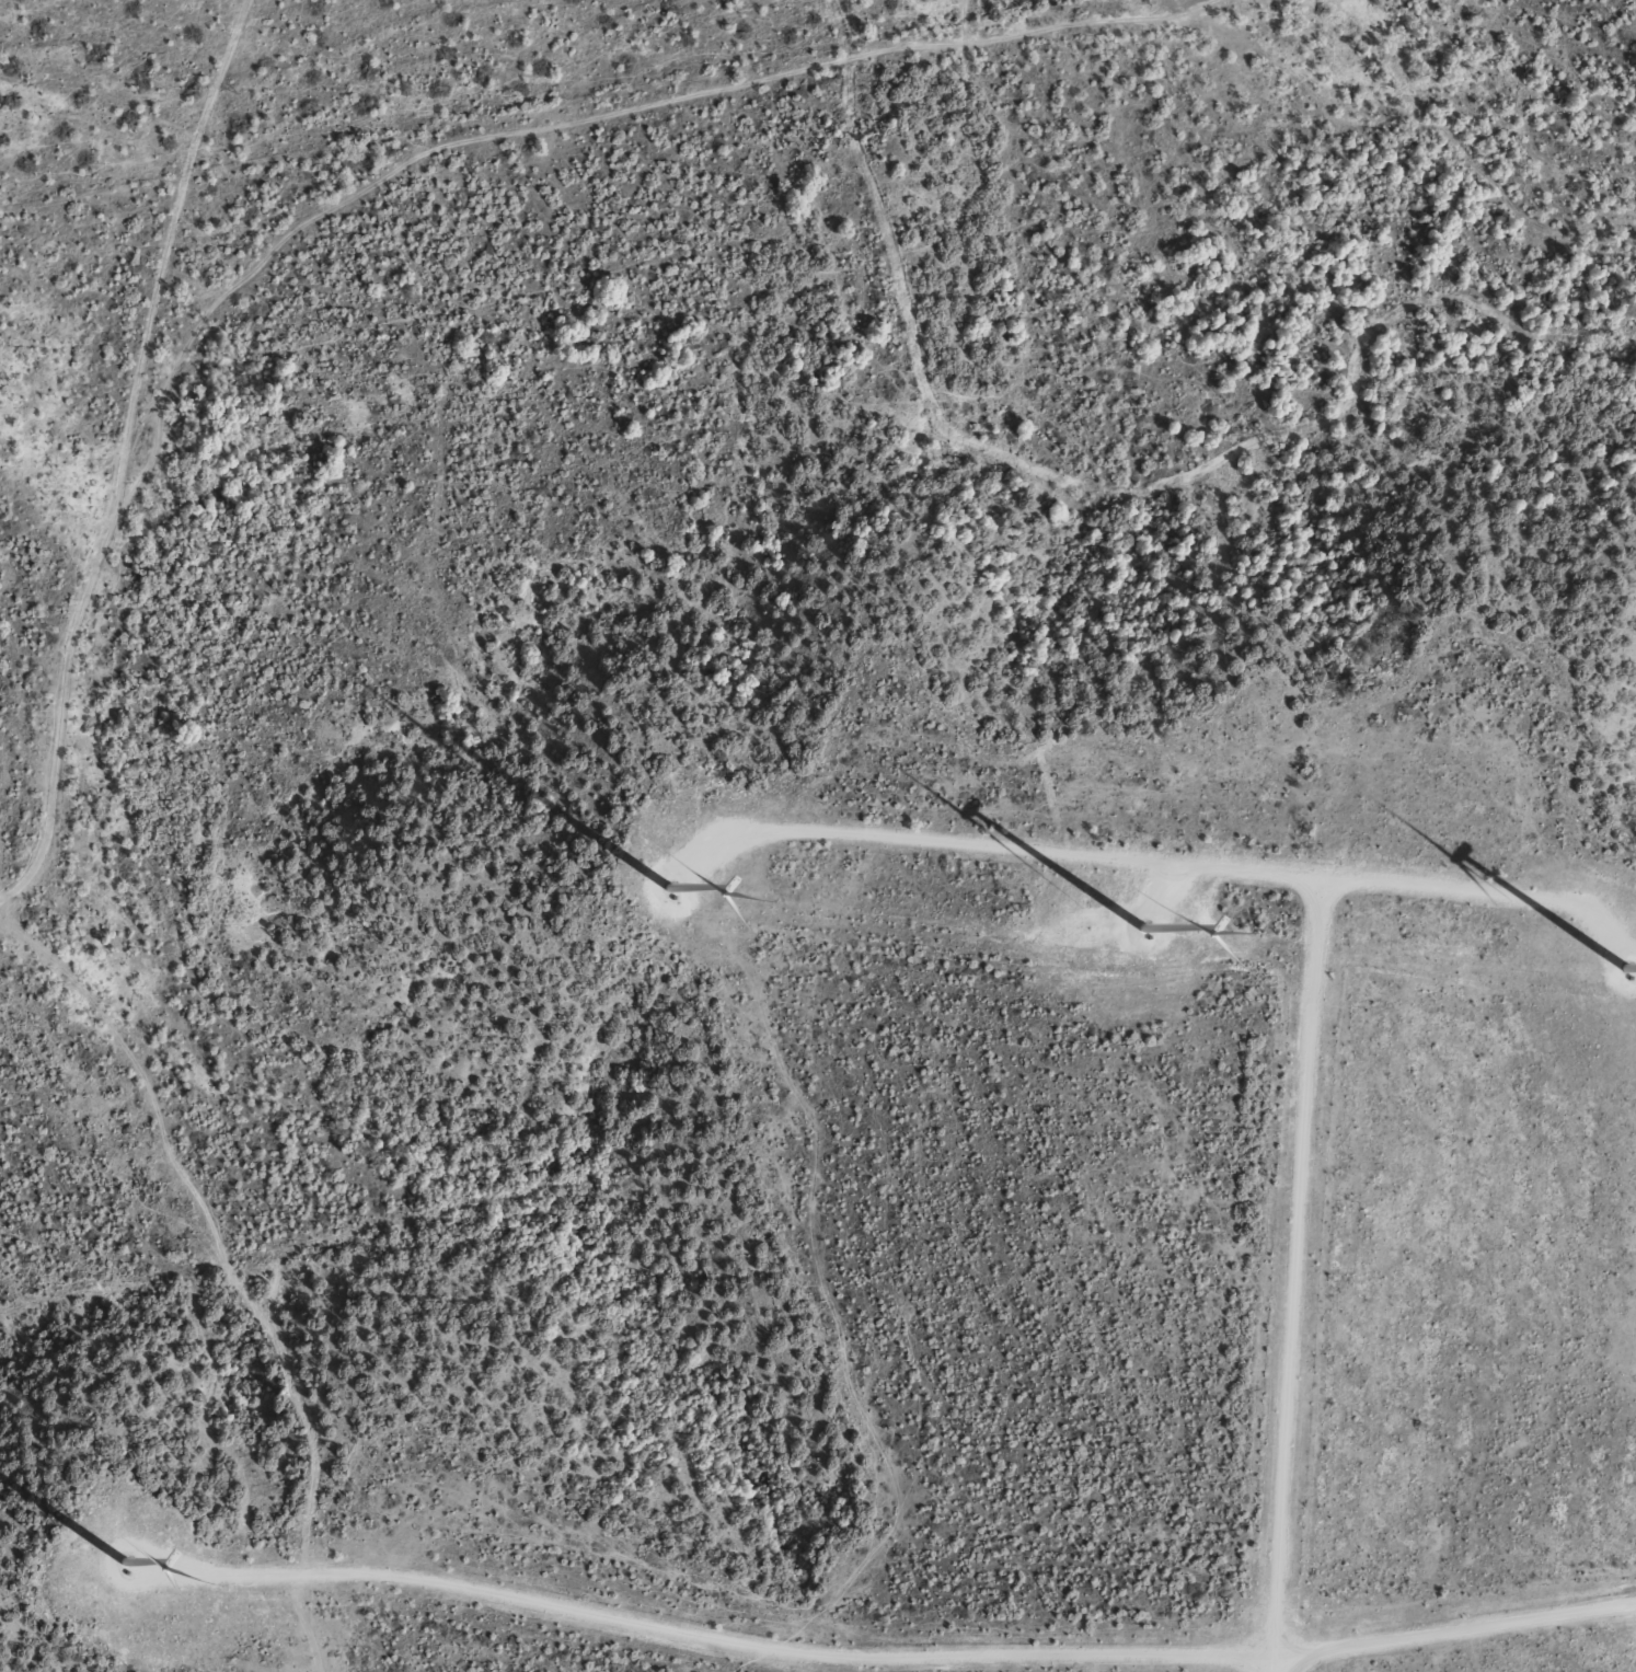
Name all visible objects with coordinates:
wind turbine: (681, 887)
wind turbine: (1143, 911)
wind turbine: (1613, 967)
road: (246, 1288)
wind turbine: (129, 1585)

